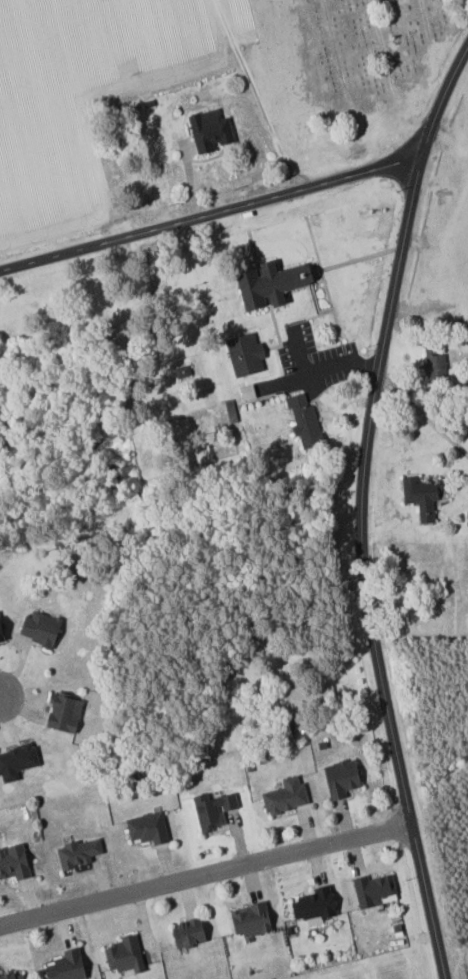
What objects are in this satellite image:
park: (379, 48)
road: (256, 97)
building: (209, 130)
road: (210, 216)
building: (268, 283)
building: (244, 354)
building: (435, 366)
road: (319, 369)
road: (422, 413)
building: (304, 421)
building: (420, 496)
road: (360, 511)
building: (39, 628)
building: (1, 634)
building: (310, 697)
building: (63, 714)
building: (16, 761)
building: (340, 779)
building: (285, 796)
building: (212, 810)
building: (147, 828)
building: (77, 853)
building: (13, 863)
road: (206, 876)
building: (373, 891)
building: (313, 907)
building: (249, 920)
building: (187, 934)
building: (123, 955)
building: (66, 966)
building: (12, 975)

